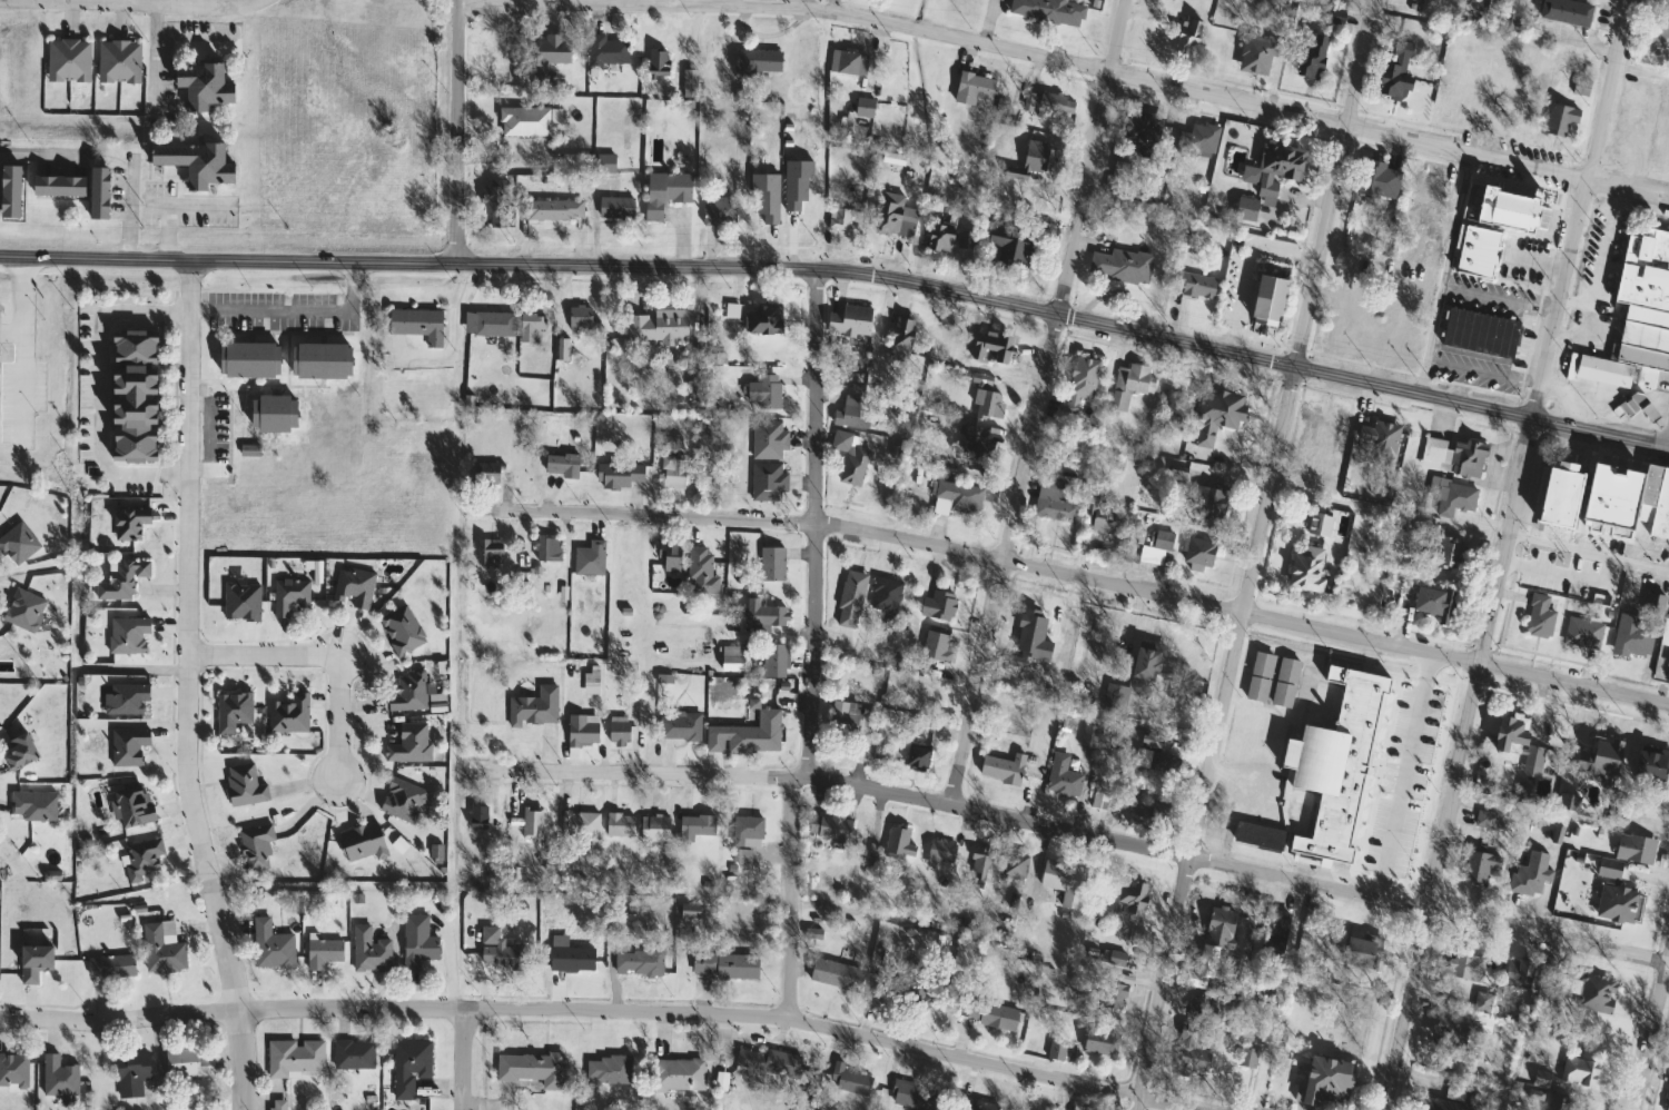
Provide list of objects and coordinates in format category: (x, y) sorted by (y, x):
road: (131, 4)
building: (1047, 10)
building: (1566, 11)
building: (1515, 13)
building: (1330, 14)
building: (1186, 38)
building: (1657, 40)
building: (550, 52)
building: (605, 52)
road: (1026, 53)
building: (1255, 53)
building: (1310, 56)
road: (155, 59)
building: (67, 60)
building: (756, 60)
building: (118, 61)
building: (658, 62)
building: (848, 62)
building: (1395, 72)
building: (688, 82)
building: (200, 86)
building: (1580, 87)
building: (972, 88)
building: (1456, 92)
building: (1497, 97)
building: (1047, 106)
building: (862, 107)
building: (1525, 110)
building: (1559, 119)
building: (523, 121)
building: (1142, 126)
road: (457, 131)
building: (1201, 140)
road: (38, 152)
road: (1090, 157)
building: (1028, 160)
building: (192, 161)
building: (1122, 169)
building: (1271, 177)
building: (1379, 180)
road: (1334, 184)
building: (56, 186)
road: (1626, 188)
building: (9, 191)
building: (664, 192)
building: (97, 194)
building: (1425, 194)
building: (494, 205)
road: (174, 206)
road: (129, 208)
building: (614, 208)
road: (1578, 208)
building: (1505, 209)
building: (553, 210)
building: (718, 212)
building: (895, 216)
building: (780, 217)
building: (838, 219)
building: (939, 236)
building: (1011, 247)
building: (1475, 251)
building: (1118, 266)
road: (843, 271)
road: (1444, 274)
road: (1591, 274)
building: (1195, 285)
road: (1572, 299)
building: (1265, 300)
road: (24, 308)
road: (293, 310)
building: (581, 318)
building: (762, 319)
building: (1640, 319)
building: (849, 321)
building: (1350, 323)
building: (415, 324)
building: (493, 324)
building: (530, 326)
building: (656, 326)
road: (453, 330)
building: (1391, 331)
building: (900, 335)
building: (991, 348)
building: (247, 360)
building: (318, 360)
building: (1079, 381)
building: (1130, 386)
road: (24, 388)
road: (98, 392)
building: (763, 392)
building: (131, 396)
building: (988, 405)
building: (270, 414)
building: (852, 414)
building: (1214, 415)
building: (1321, 427)
building: (768, 439)
building: (1380, 439)
building: (974, 449)
building: (1452, 456)
building: (850, 458)
building: (560, 465)
building: (671, 473)
building: (486, 475)
building: (619, 475)
building: (1176, 475)
building: (767, 482)
building: (1325, 482)
building: (1558, 495)
building: (1452, 497)
building: (954, 498)
building: (1053, 503)
building: (1208, 503)
building: (1655, 503)
building: (1103, 516)
road: (809, 522)
building: (1317, 524)
building: (1602, 534)
building: (17, 544)
building: (1155, 545)
building: (546, 548)
road: (1589, 549)
building: (488, 552)
building: (1196, 552)
building: (1444, 554)
building: (669, 556)
building: (589, 558)
road: (1004, 559)
building: (771, 564)
building: (1305, 569)
building: (700, 571)
road: (1075, 575)
building: (120, 578)
building: (353, 588)
building: (288, 596)
building: (240, 602)
building: (1430, 602)
building: (851, 605)
building: (938, 606)
building: (23, 611)
building: (763, 613)
building: (1538, 616)
building: (401, 630)
building: (1582, 633)
building: (1665, 634)
building: (127, 635)
building: (1029, 637)
building: (1631, 637)
building: (935, 648)
road: (324, 656)
building: (774, 661)
building: (1667, 661)
building: (1146, 662)
building: (729, 663)
building: (1272, 680)
road: (187, 687)
building: (407, 693)
building: (124, 698)
building: (1114, 698)
building: (533, 707)
building: (231, 711)
building: (287, 714)
building: (846, 720)
building: (680, 726)
building: (618, 733)
building: (1509, 734)
building: (581, 735)
building: (1088, 736)
building: (752, 739)
road: (1215, 739)
building: (409, 744)
building: (126, 745)
building: (18, 752)
building: (916, 756)
building: (1533, 756)
building: (1155, 762)
road: (1459, 764)
building: (1649, 765)
building: (1001, 770)
building: (1326, 773)
building: (1061, 777)
road: (1410, 777)
building: (244, 785)
building: (402, 801)
road: (1237, 804)
building: (31, 805)
building: (131, 806)
building: (1148, 815)
building: (476, 817)
building: (1485, 820)
building: (531, 823)
building: (581, 823)
building: (618, 824)
building: (695, 825)
building: (653, 827)
building: (830, 827)
building: (747, 831)
road: (1080, 833)
building: (361, 843)
building: (898, 843)
building: (254, 848)
building: (1633, 849)
building: (940, 850)
building: (141, 858)
building: (1010, 864)
building: (978, 865)
building: (1478, 866)
building: (1608, 869)
building: (1530, 875)
building: (1063, 882)
road: (790, 898)
building: (1132, 899)
building: (1618, 904)
building: (689, 911)
building: (1218, 928)
building: (1282, 941)
building: (415, 942)
building: (270, 947)
building: (161, 949)
building: (368, 951)
building: (1359, 951)
building: (322, 953)
building: (501, 958)
building: (569, 958)
building: (1116, 959)
building: (32, 962)
building: (636, 963)
building: (109, 967)
building: (723, 967)
building: (1466, 969)
building: (1518, 973)
building: (836, 975)
building: (1596, 993)
building: (1199, 1008)
road: (642, 1011)
building: (987, 1013)
road: (42, 1020)
road: (1651, 1031)
building: (1446, 1032)
building: (1097, 1042)
building: (1055, 1049)
building: (1191, 1053)
building: (352, 1056)
building: (293, 1058)
building: (1246, 1058)
road: (462, 1059)
building: (768, 1063)
building: (187, 1064)
building: (408, 1067)
building: (527, 1070)
building: (608, 1070)
building: (13, 1071)
building: (130, 1072)
building: (1578, 1072)
building: (679, 1074)
building: (59, 1080)
building: (1324, 1081)
building: (850, 1083)
building: (912, 1096)
building: (1667, 1100)
building: (1453, 1103)
building: (977, 1106)
building: (276, 1109)

